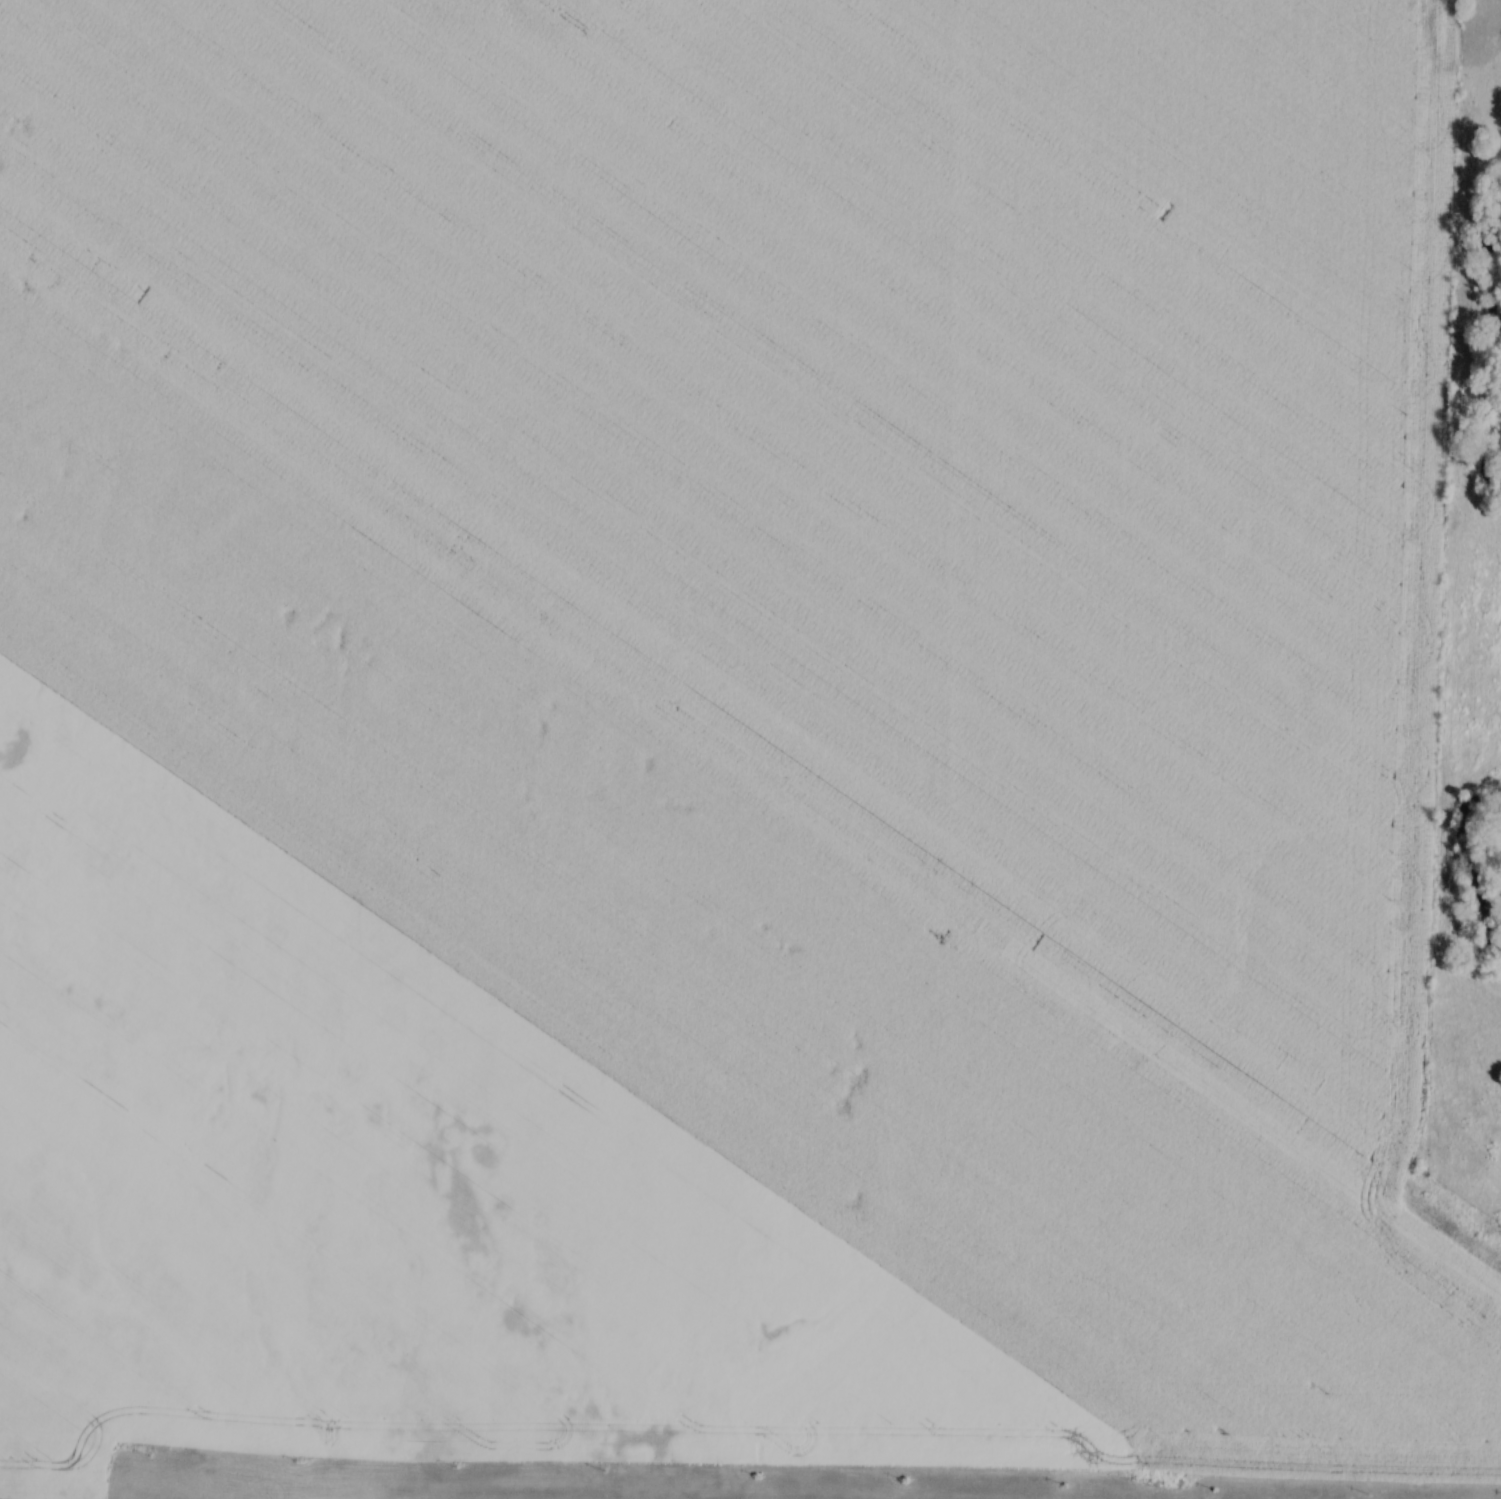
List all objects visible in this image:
river: (1498, 361)
river: (1473, 868)

